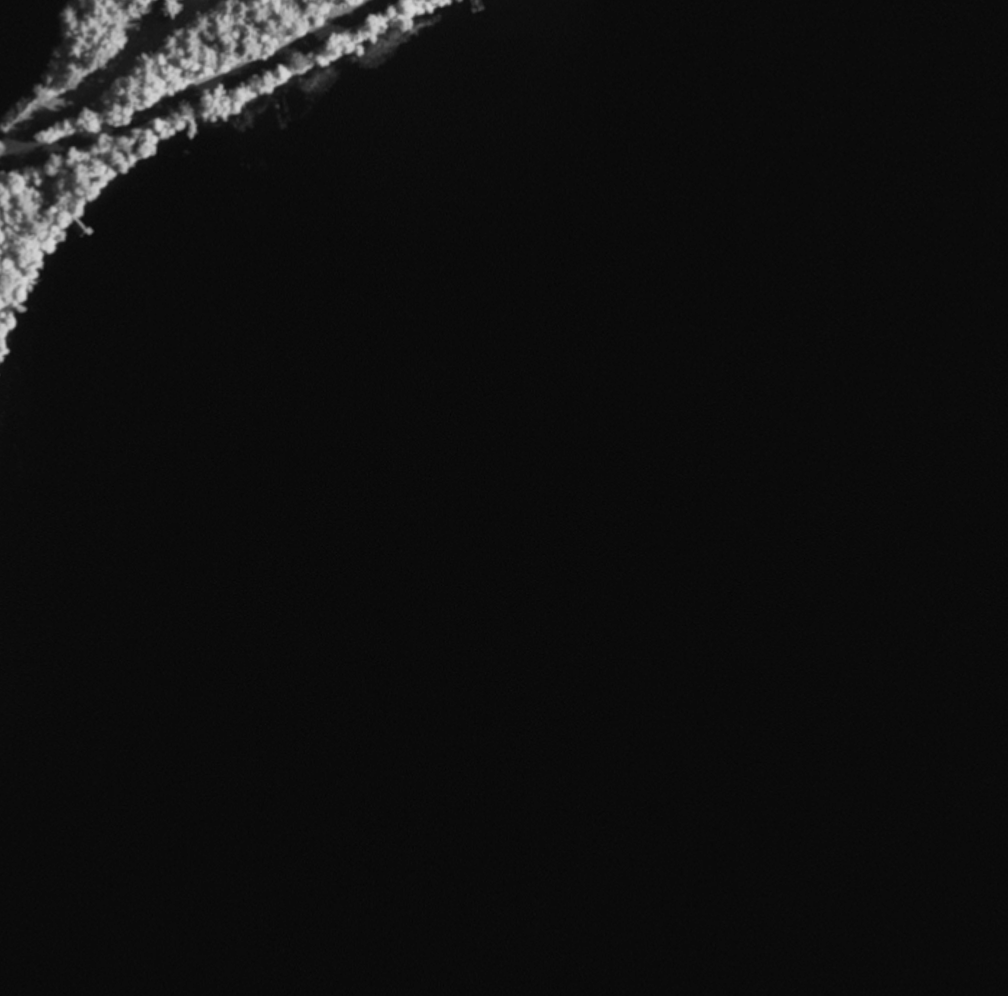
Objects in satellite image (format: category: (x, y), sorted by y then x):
road: (180, 97)

